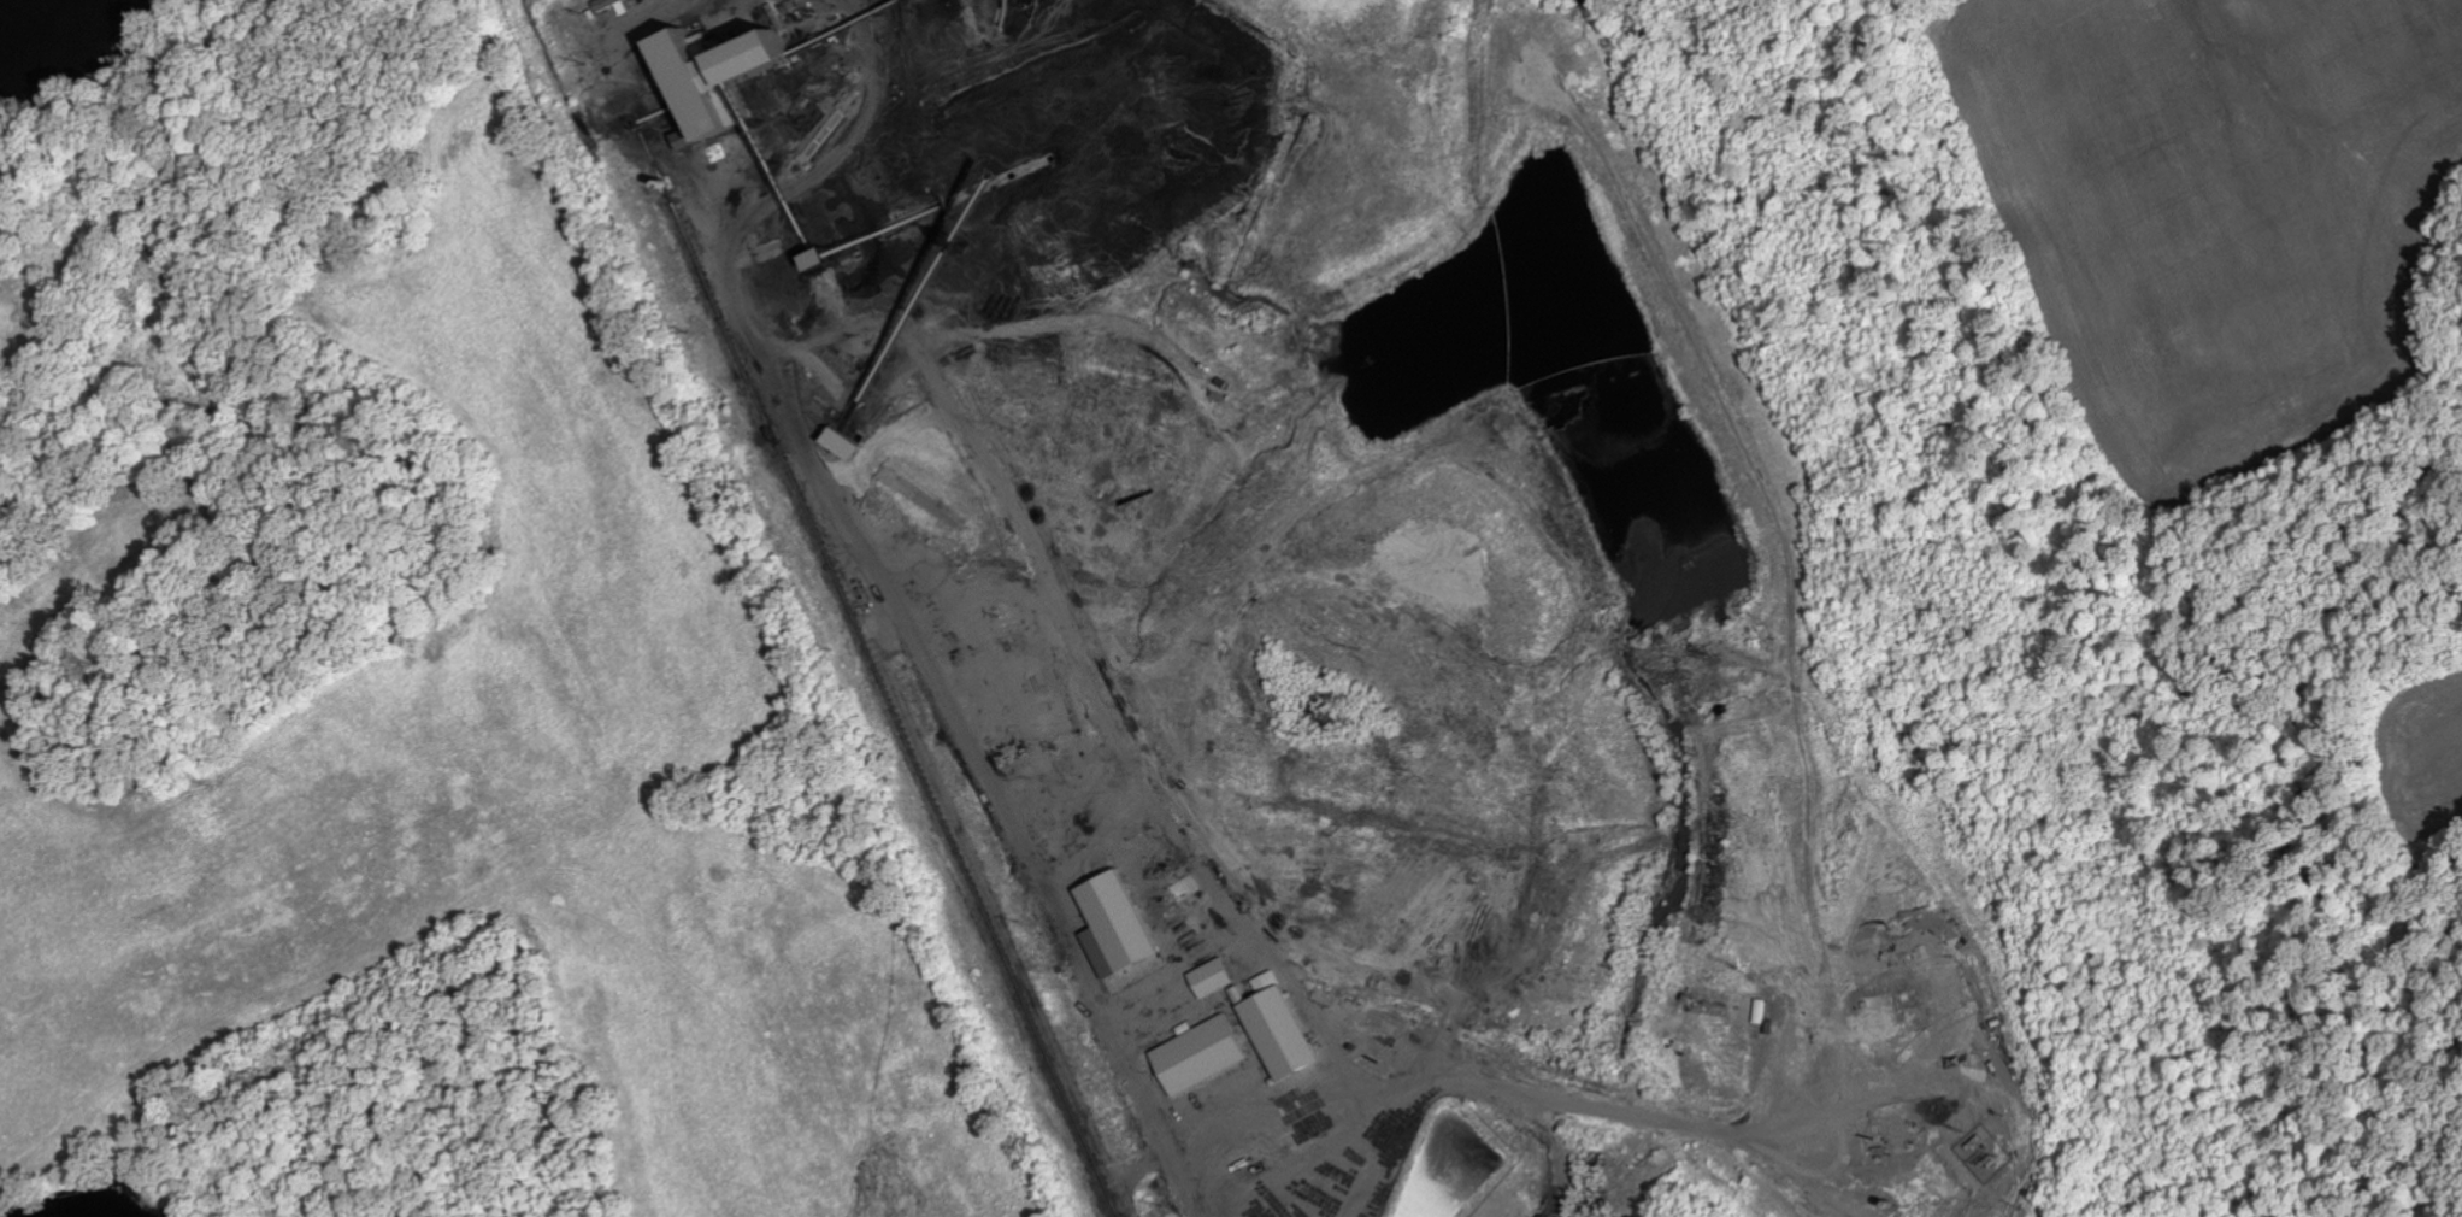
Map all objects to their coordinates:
building: (720, 75)
building: (827, 255)
building: (850, 442)
road: (1704, 508)
building: (1121, 924)
building: (1219, 977)
building: (1285, 1028)
building: (1206, 1056)

